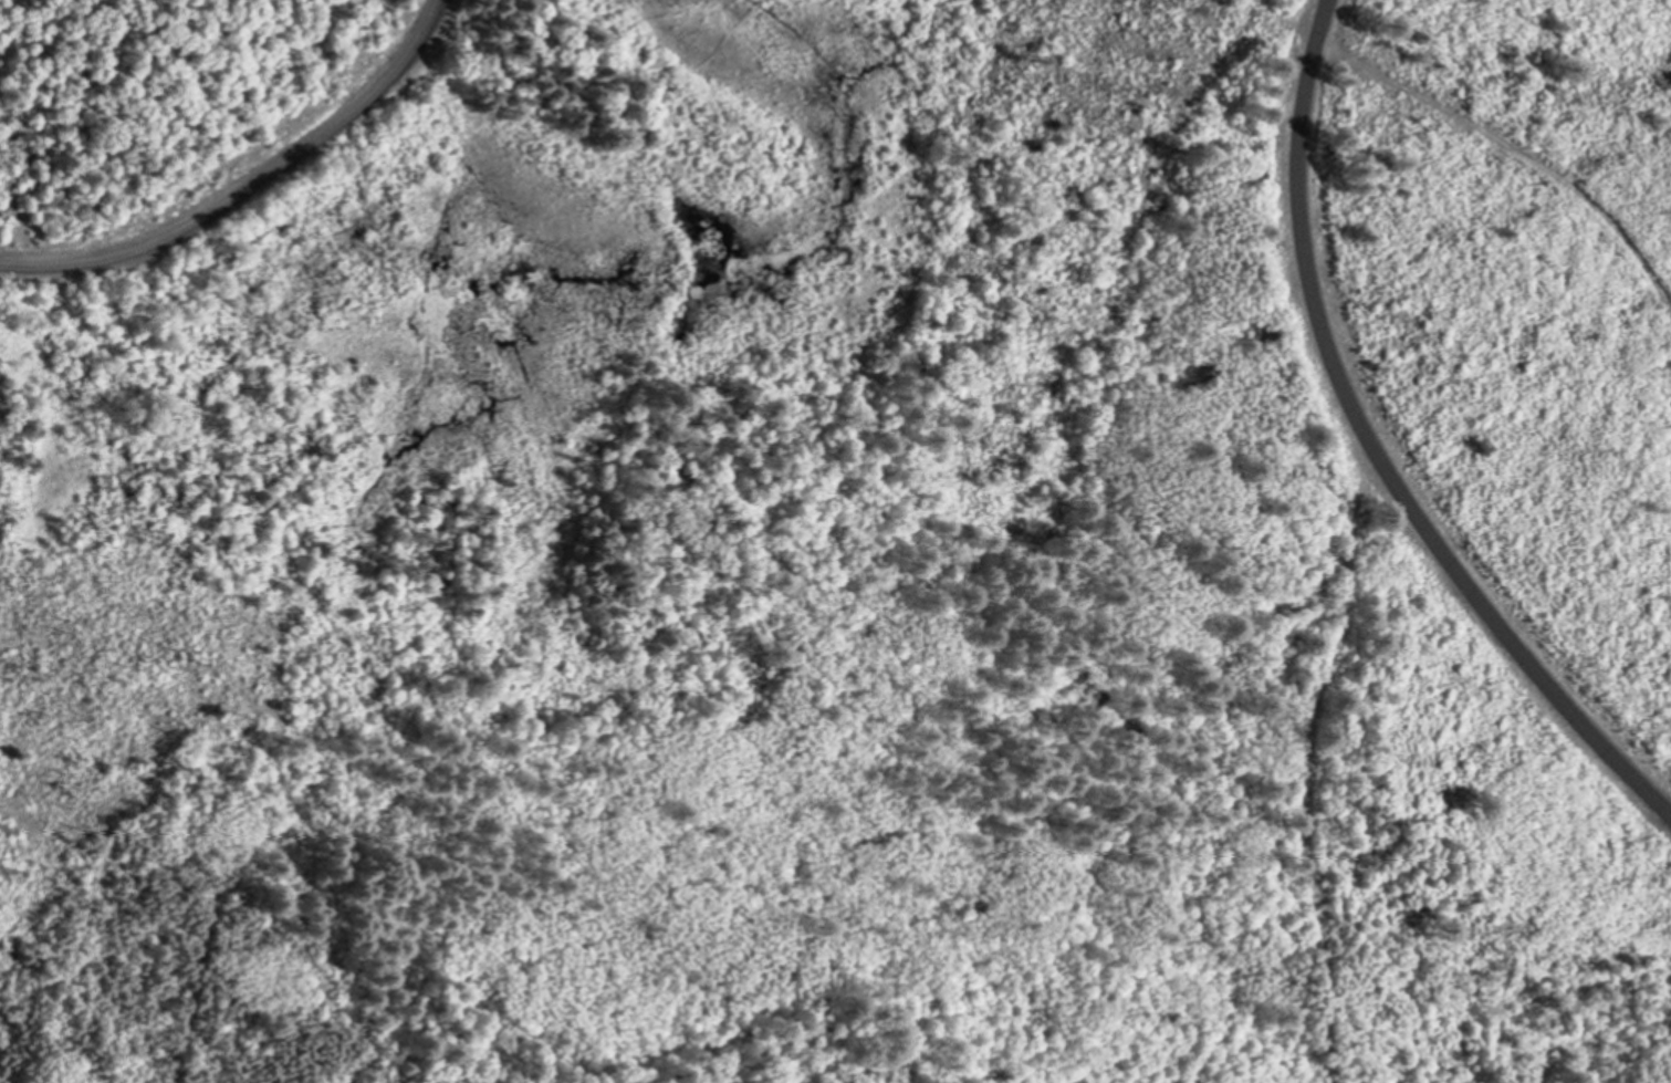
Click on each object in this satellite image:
road: (242, 184)
road: (1369, 454)

